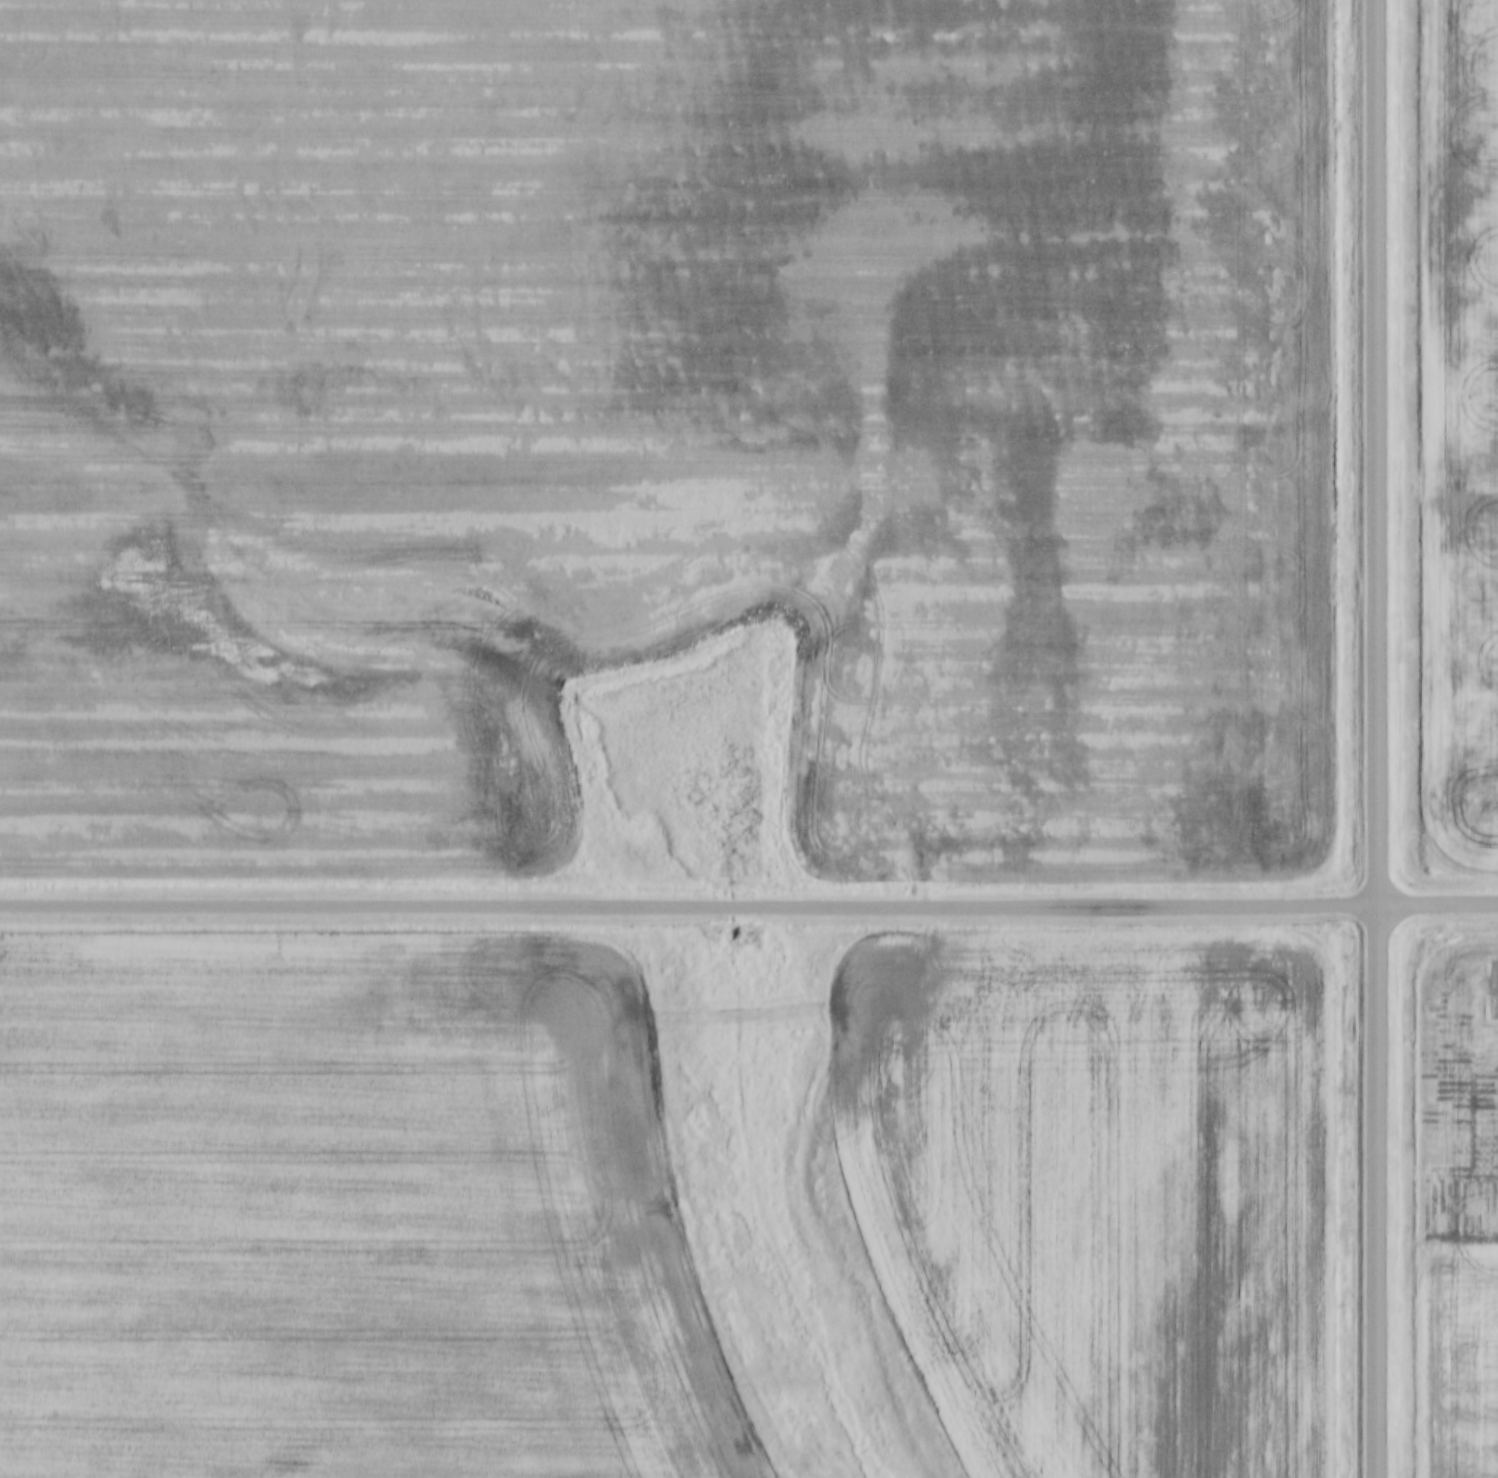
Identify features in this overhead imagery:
road: (1376, 454)
road: (687, 908)
road: (1437, 909)
road: (1375, 1193)

